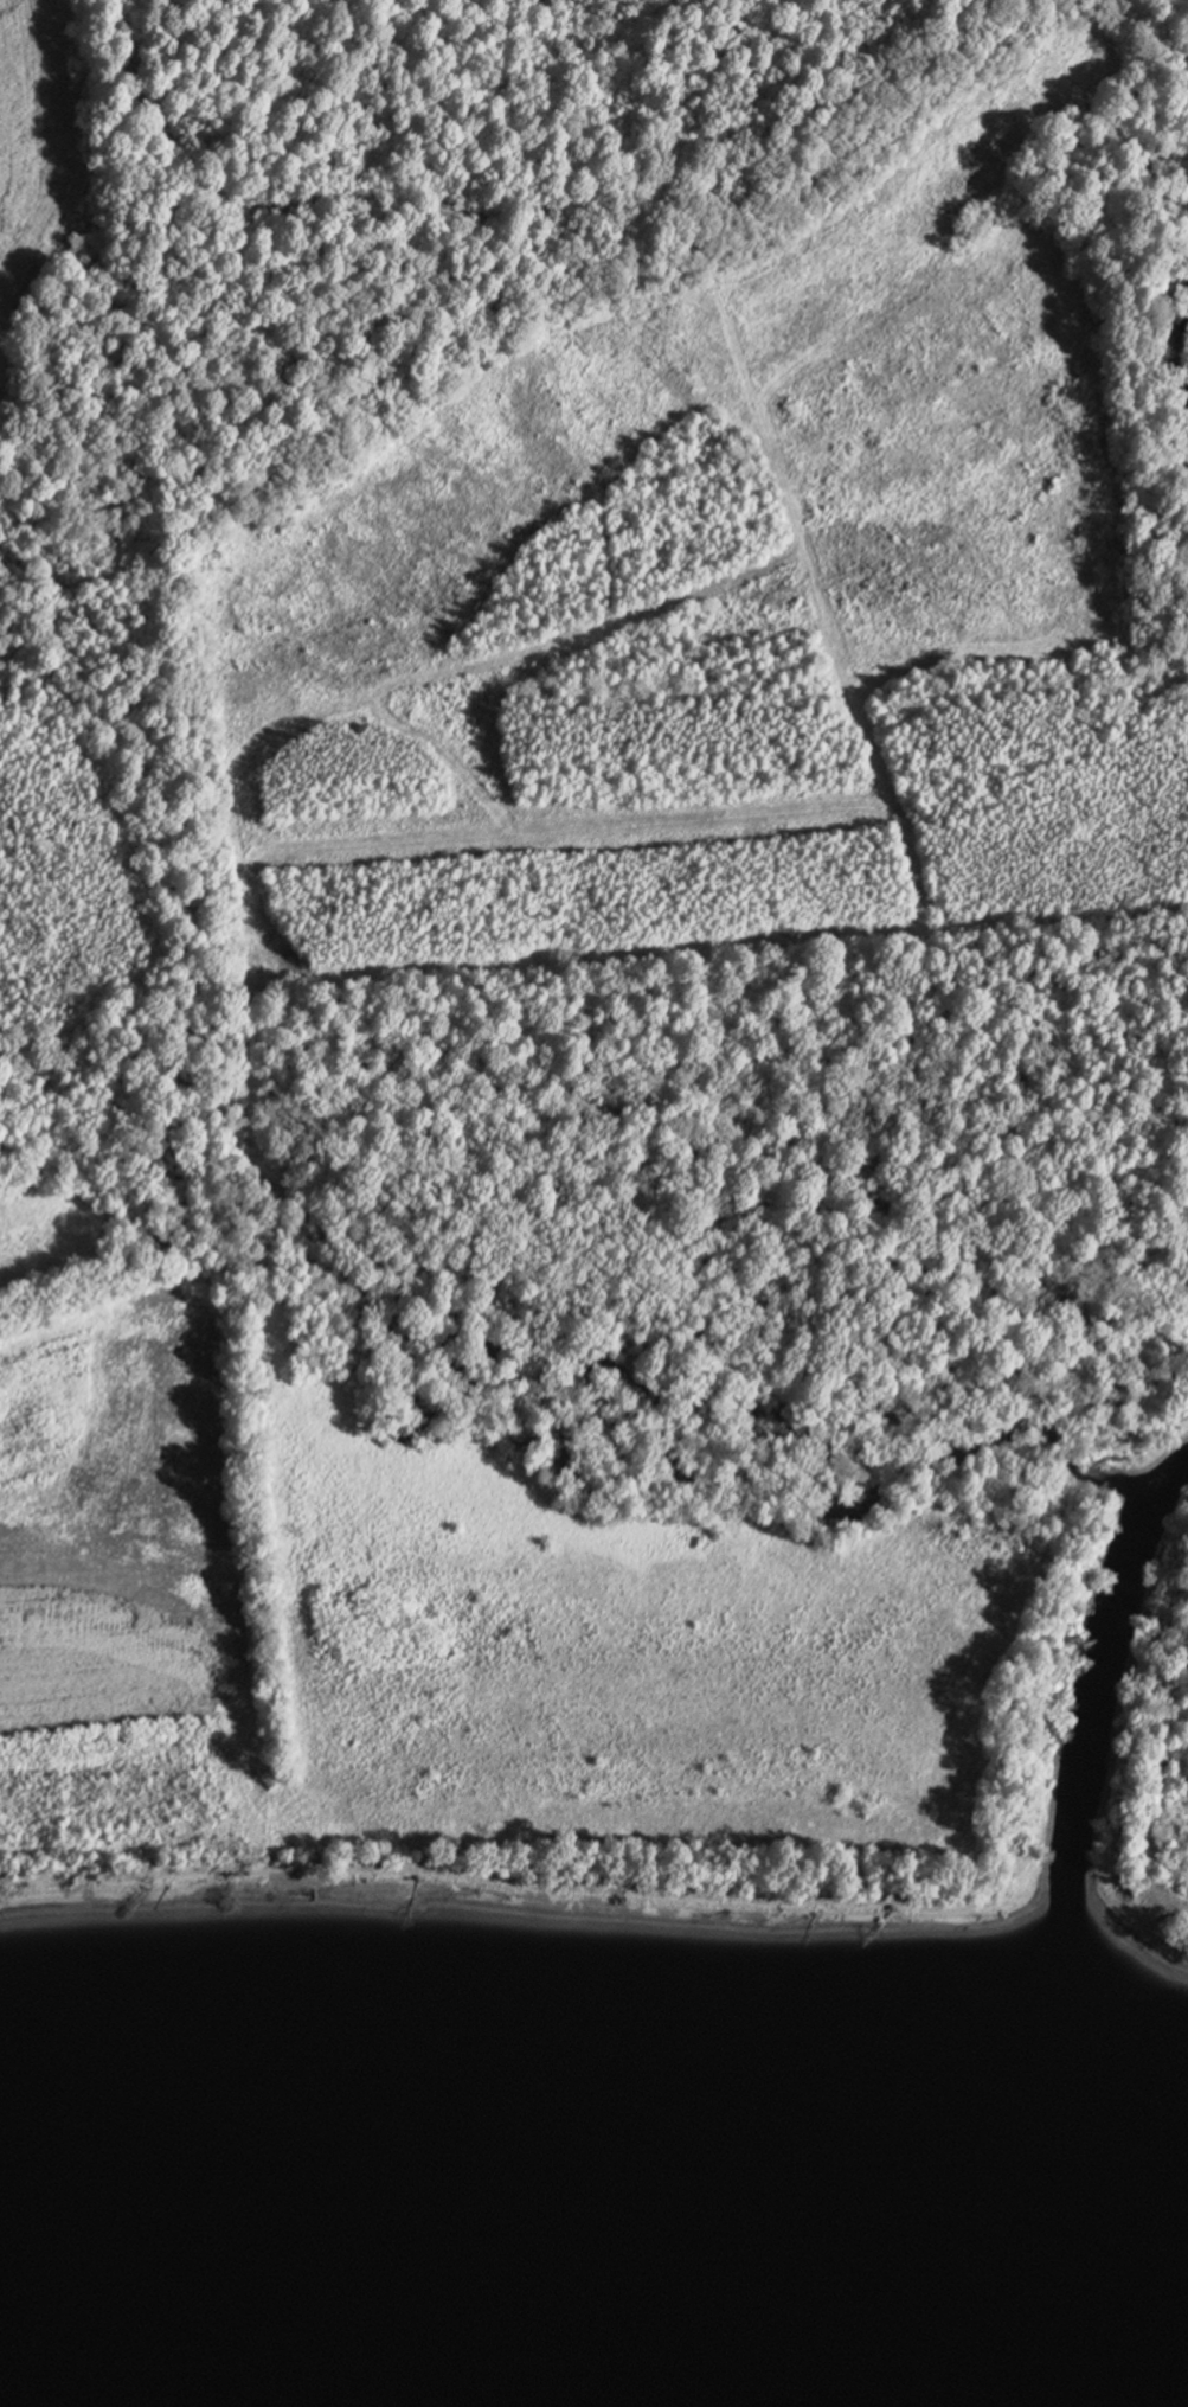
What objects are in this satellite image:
river: (455, 2334)

